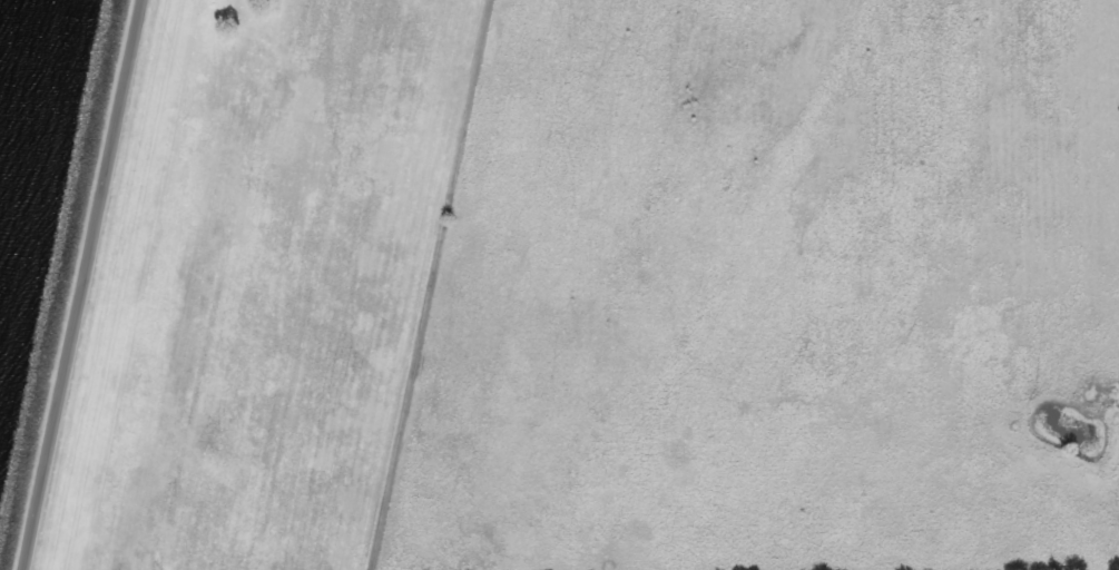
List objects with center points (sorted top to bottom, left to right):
road: (94, 284)
dam: (105, 286)

